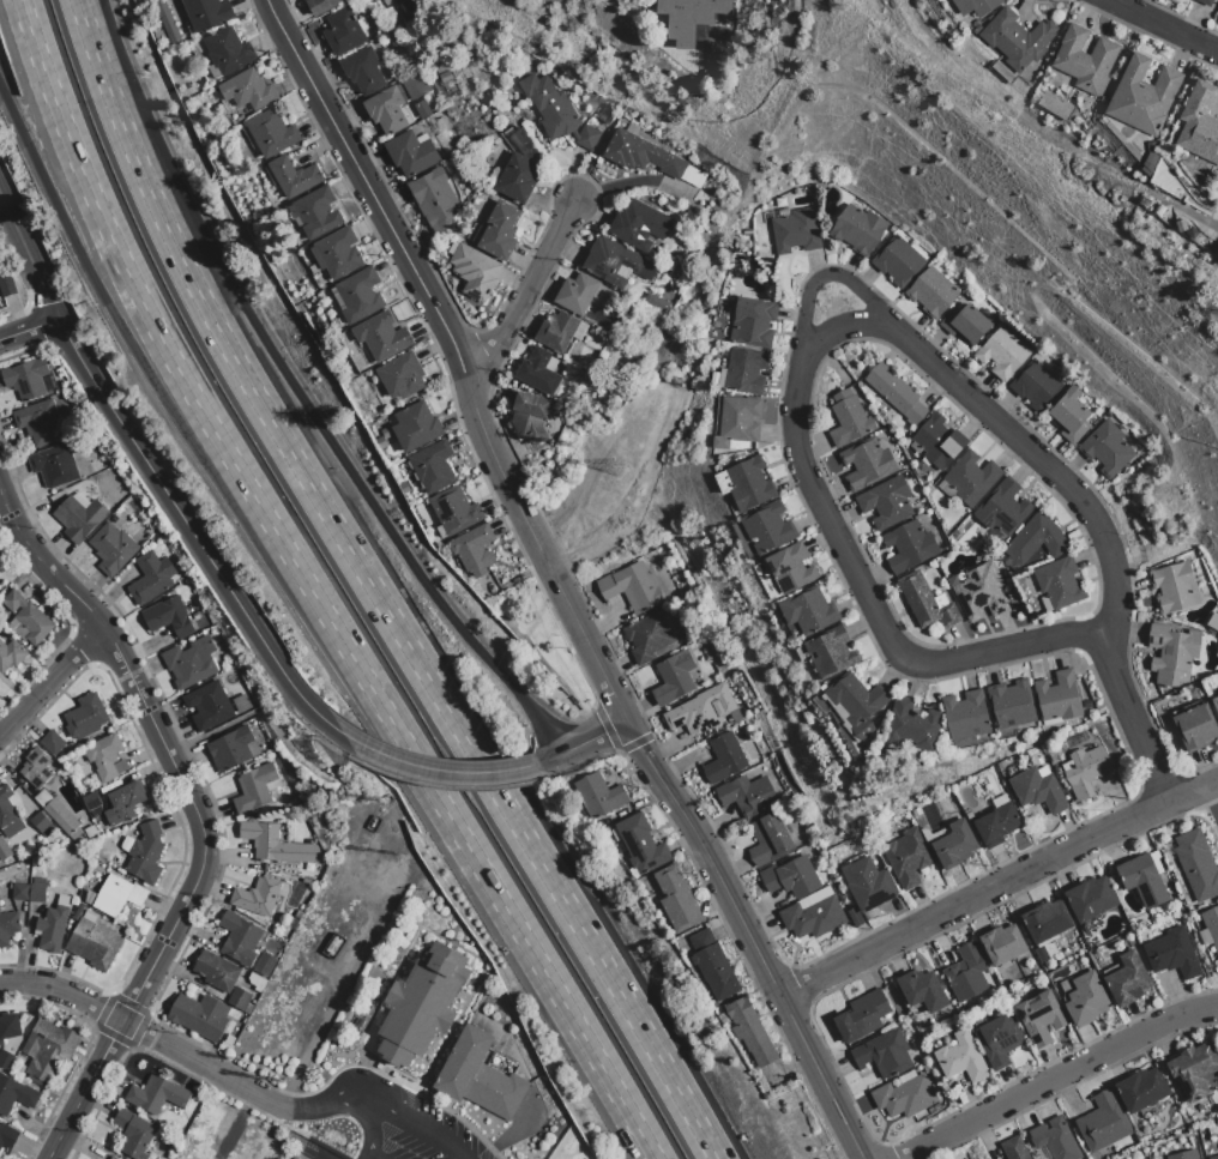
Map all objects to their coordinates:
building: (1204, 2)
building: (322, 6)
building: (975, 6)
building: (206, 13)
building: (689, 17)
road: (82, 18)
building: (167, 20)
road: (1159, 26)
building: (343, 32)
building: (1015, 38)
building: (228, 52)
building: (1085, 60)
building: (363, 71)
building: (247, 91)
building: (1142, 96)
building: (550, 107)
building: (386, 111)
building: (1199, 123)
building: (272, 133)
building: (587, 139)
building: (411, 153)
building: (641, 155)
building: (294, 177)
building: (518, 179)
building: (434, 199)
building: (316, 215)
building: (638, 225)
building: (856, 229)
building: (500, 231)
building: (796, 231)
building: (339, 254)
building: (896, 261)
building: (619, 267)
building: (475, 272)
building: (6, 283)
building: (930, 291)
building: (577, 294)
building: (360, 296)
road: (526, 297)
building: (753, 322)
building: (964, 324)
road: (843, 328)
road: (29, 330)
building: (559, 331)
building: (382, 337)
building: (1001, 352)
road: (457, 356)
building: (746, 370)
building: (538, 372)
road: (181, 375)
building: (402, 376)
building: (26, 380)
building: (1035, 386)
building: (896, 392)
road: (307, 409)
building: (1069, 416)
road: (174, 417)
building: (530, 417)
building: (741, 418)
building: (848, 419)
building: (40, 424)
building: (416, 428)
building: (937, 441)
power tower: (577, 446)
building: (1105, 448)
building: (866, 463)
building: (54, 466)
building: (433, 467)
power tower: (616, 467)
road: (155, 477)
building: (970, 478)
building: (750, 484)
road: (1074, 499)
building: (885, 502)
building: (1002, 508)
building: (454, 511)
building: (79, 519)
building: (768, 527)
building: (1035, 541)
building: (908, 547)
building: (111, 549)
building: (474, 551)
road: (851, 562)
building: (790, 568)
building: (152, 578)
building: (1059, 582)
building: (1172, 587)
building: (633, 588)
building: (979, 592)
building: (925, 602)
road: (382, 606)
building: (808, 610)
building: (168, 617)
building: (26, 620)
building: (646, 636)
building: (830, 652)
building: (1171, 653)
building: (10, 656)
building: (191, 663)
building: (673, 677)
road: (48, 678)
building: (1217, 692)
building: (1057, 696)
building: (242, 704)
building: (855, 704)
building: (1214, 704)
building: (1009, 705)
building: (209, 707)
building: (700, 711)
building: (965, 714)
building: (85, 718)
building: (911, 725)
building: (1194, 726)
building: (53, 743)
road: (584, 744)
building: (230, 750)
building: (105, 757)
building: (723, 759)
building: (36, 769)
road: (440, 769)
building: (1084, 771)
building: (254, 789)
building: (1037, 789)
building: (747, 796)
road: (1212, 796)
building: (601, 797)
building: (91, 802)
building: (123, 804)
road: (193, 809)
building: (59, 814)
building: (8, 815)
building: (40, 822)
building: (996, 822)
building: (91, 833)
building: (767, 839)
building: (640, 844)
building: (278, 845)
building: (953, 845)
building: (4, 851)
building: (144, 853)
building: (906, 857)
building: (1196, 864)
building: (393, 877)
building: (789, 877)
building: (1142, 879)
building: (867, 885)
road: (997, 886)
building: (20, 892)
building: (37, 894)
building: (117, 897)
building: (258, 897)
building: (676, 899)
building: (1090, 899)
building: (78, 912)
building: (812, 914)
building: (1045, 920)
building: (1211, 925)
building: (53, 926)
building: (7, 928)
road: (749, 937)
building: (240, 940)
road: (525, 941)
building: (94, 943)
building: (1001, 944)
building: (1171, 954)
building: (712, 965)
building: (263, 971)
building: (216, 972)
building: (965, 972)
building: (1126, 980)
building: (257, 983)
building: (921, 990)
building: (1085, 998)
building: (240, 1000)
building: (422, 1006)
building: (861, 1015)
building: (200, 1016)
building: (1039, 1016)
building: (10, 1026)
building: (749, 1032)
road: (156, 1038)
building: (997, 1039)
building: (48, 1049)
building: (882, 1054)
building: (960, 1058)
building: (6, 1060)
power tower: (248, 1066)
building: (1193, 1070)
power tower: (289, 1074)
building: (480, 1077)
road: (1056, 1077)
building: (1141, 1089)
building: (14, 1094)
building: (157, 1095)
building: (903, 1097)
road: (339, 1104)
building: (1102, 1122)
road: (421, 1129)
road: (369, 1130)
building: (134, 1135)
building: (7, 1137)
building: (1054, 1139)
building: (1013, 1148)
road: (364, 1155)
road: (372, 1155)
building: (1183, 1155)
building: (1213, 1157)
building: (113, 1158)

